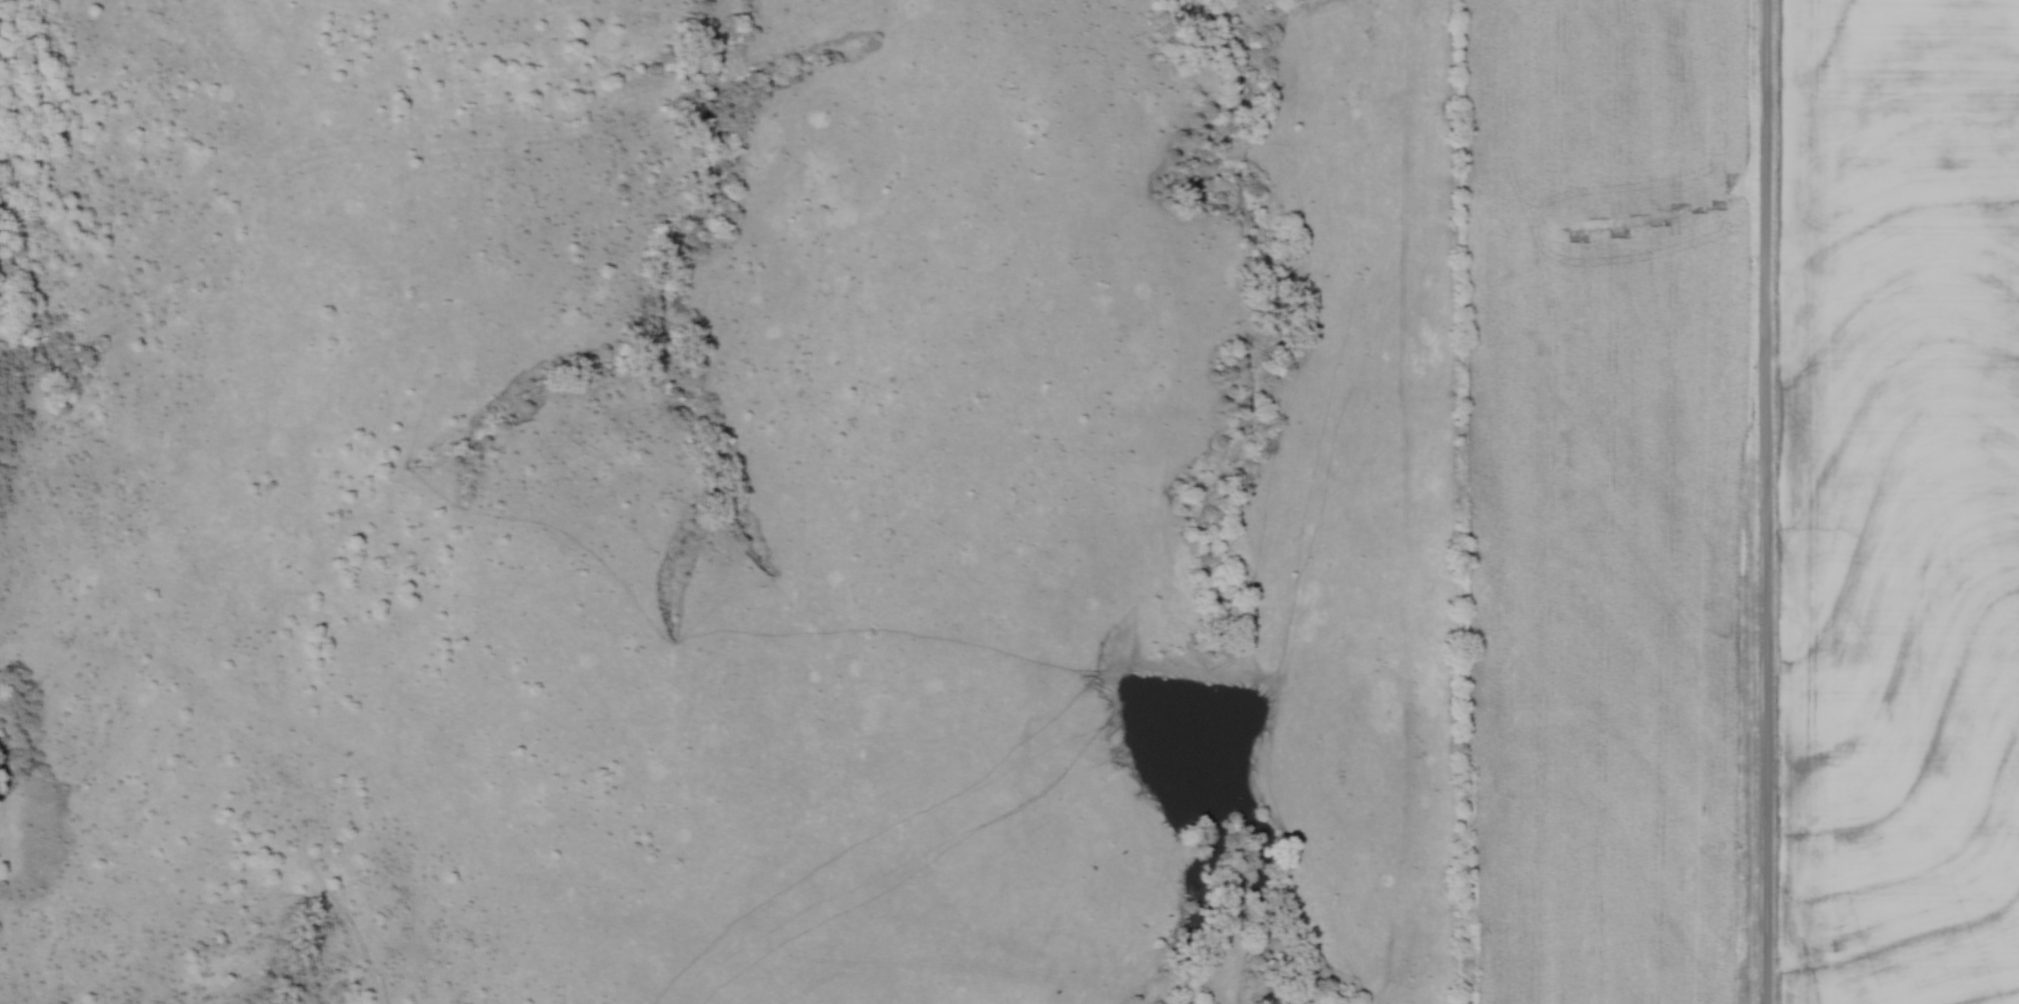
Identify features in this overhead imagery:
road: (1766, 501)

